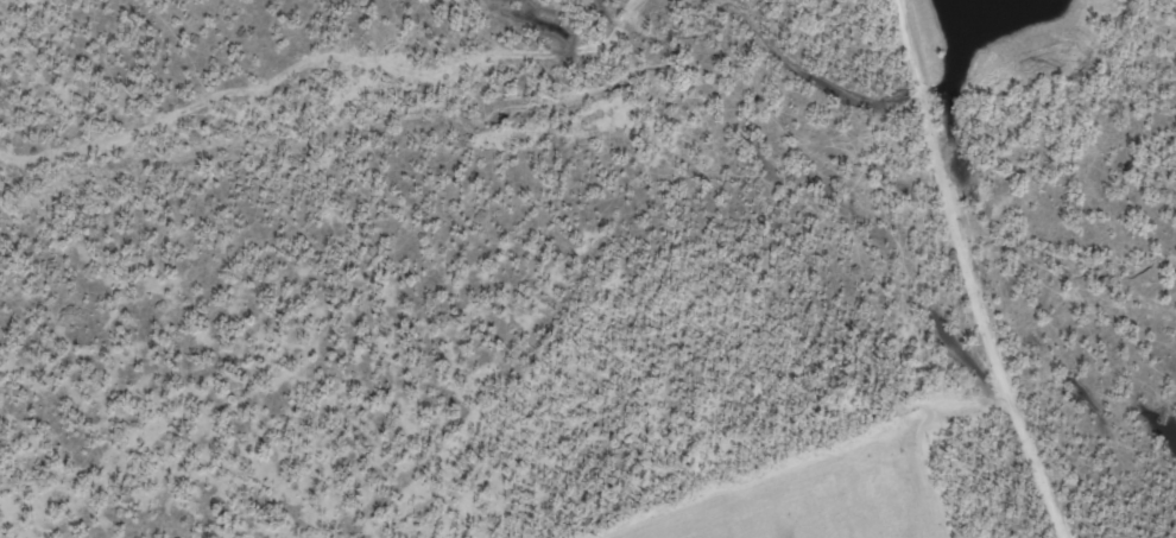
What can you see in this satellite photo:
road: (960, 271)

